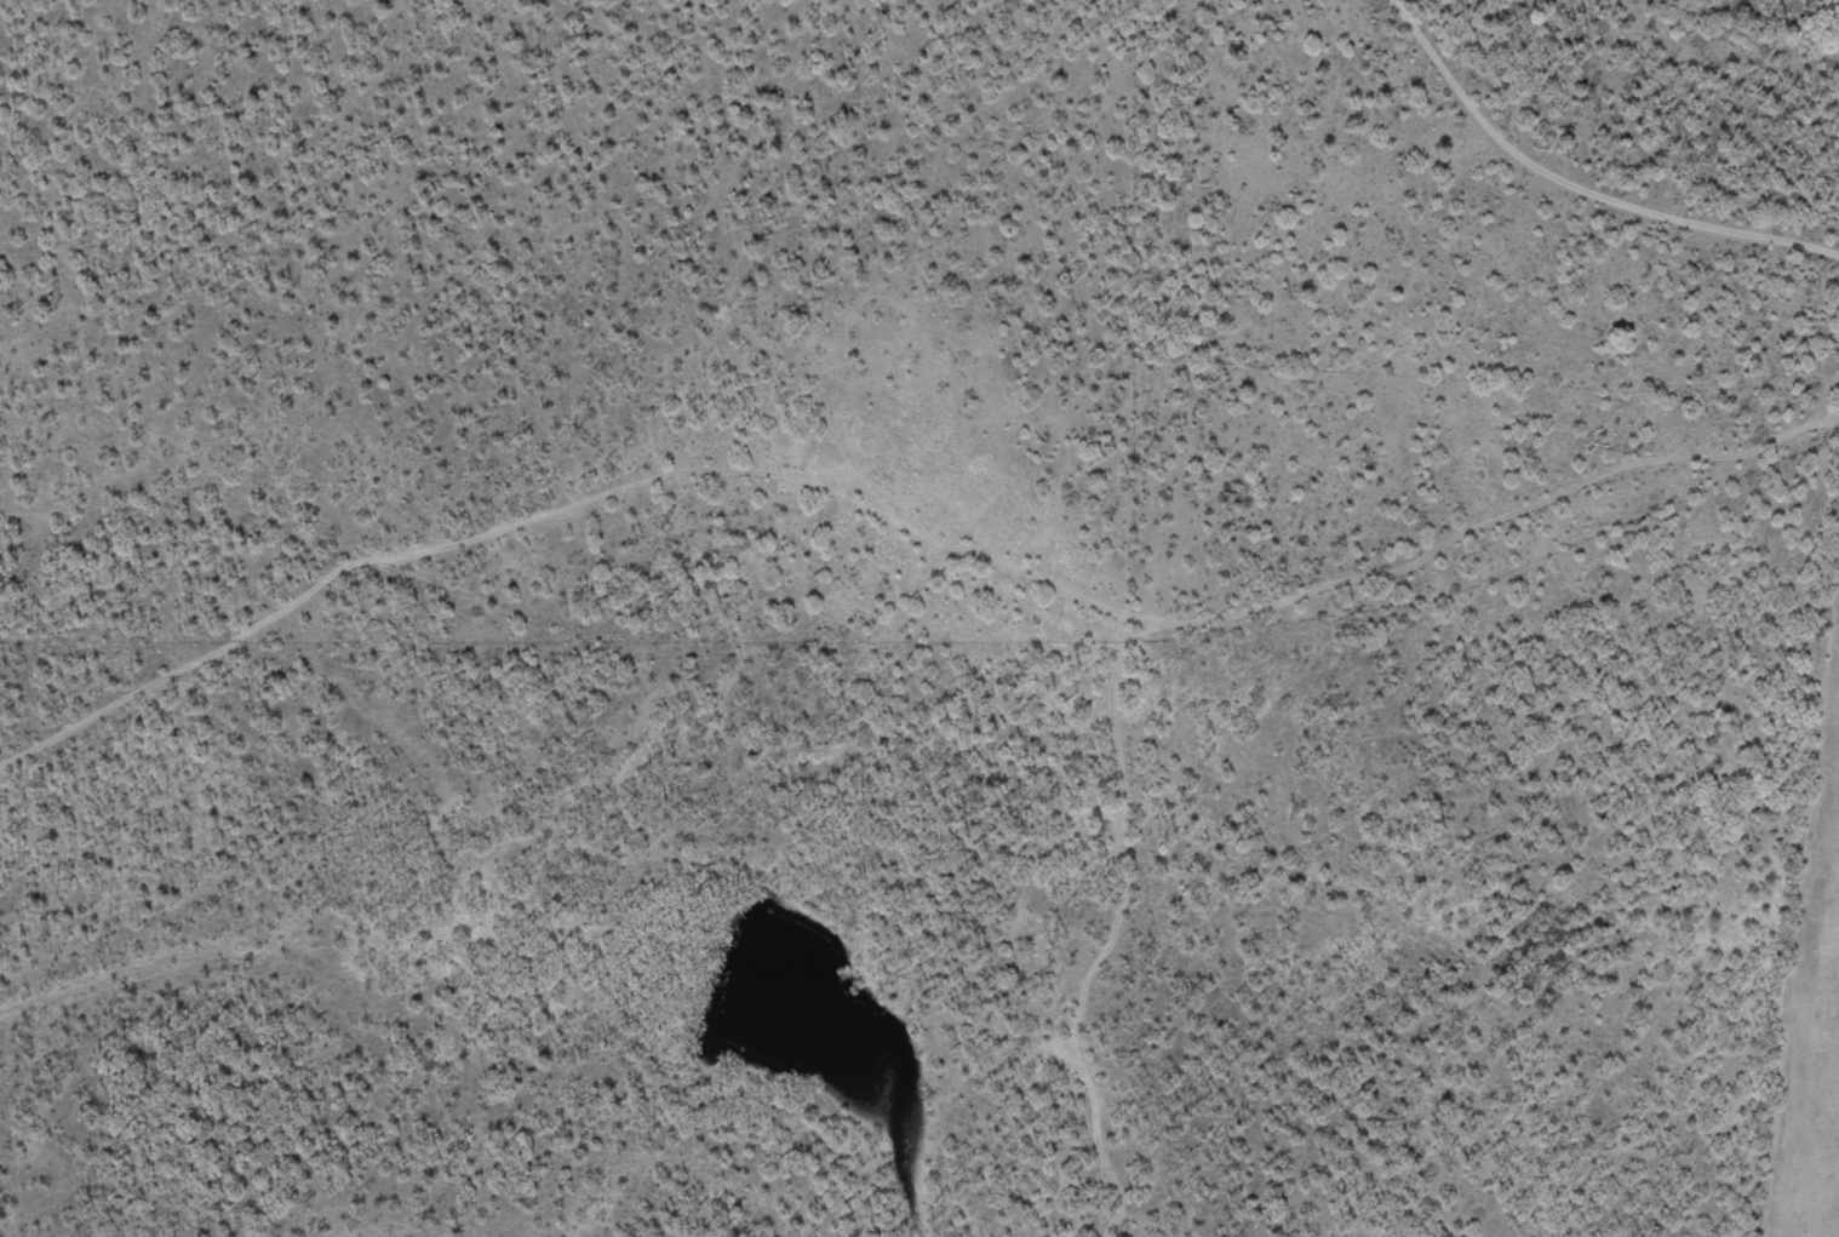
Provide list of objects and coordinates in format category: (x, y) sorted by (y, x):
road: (1571, 196)

